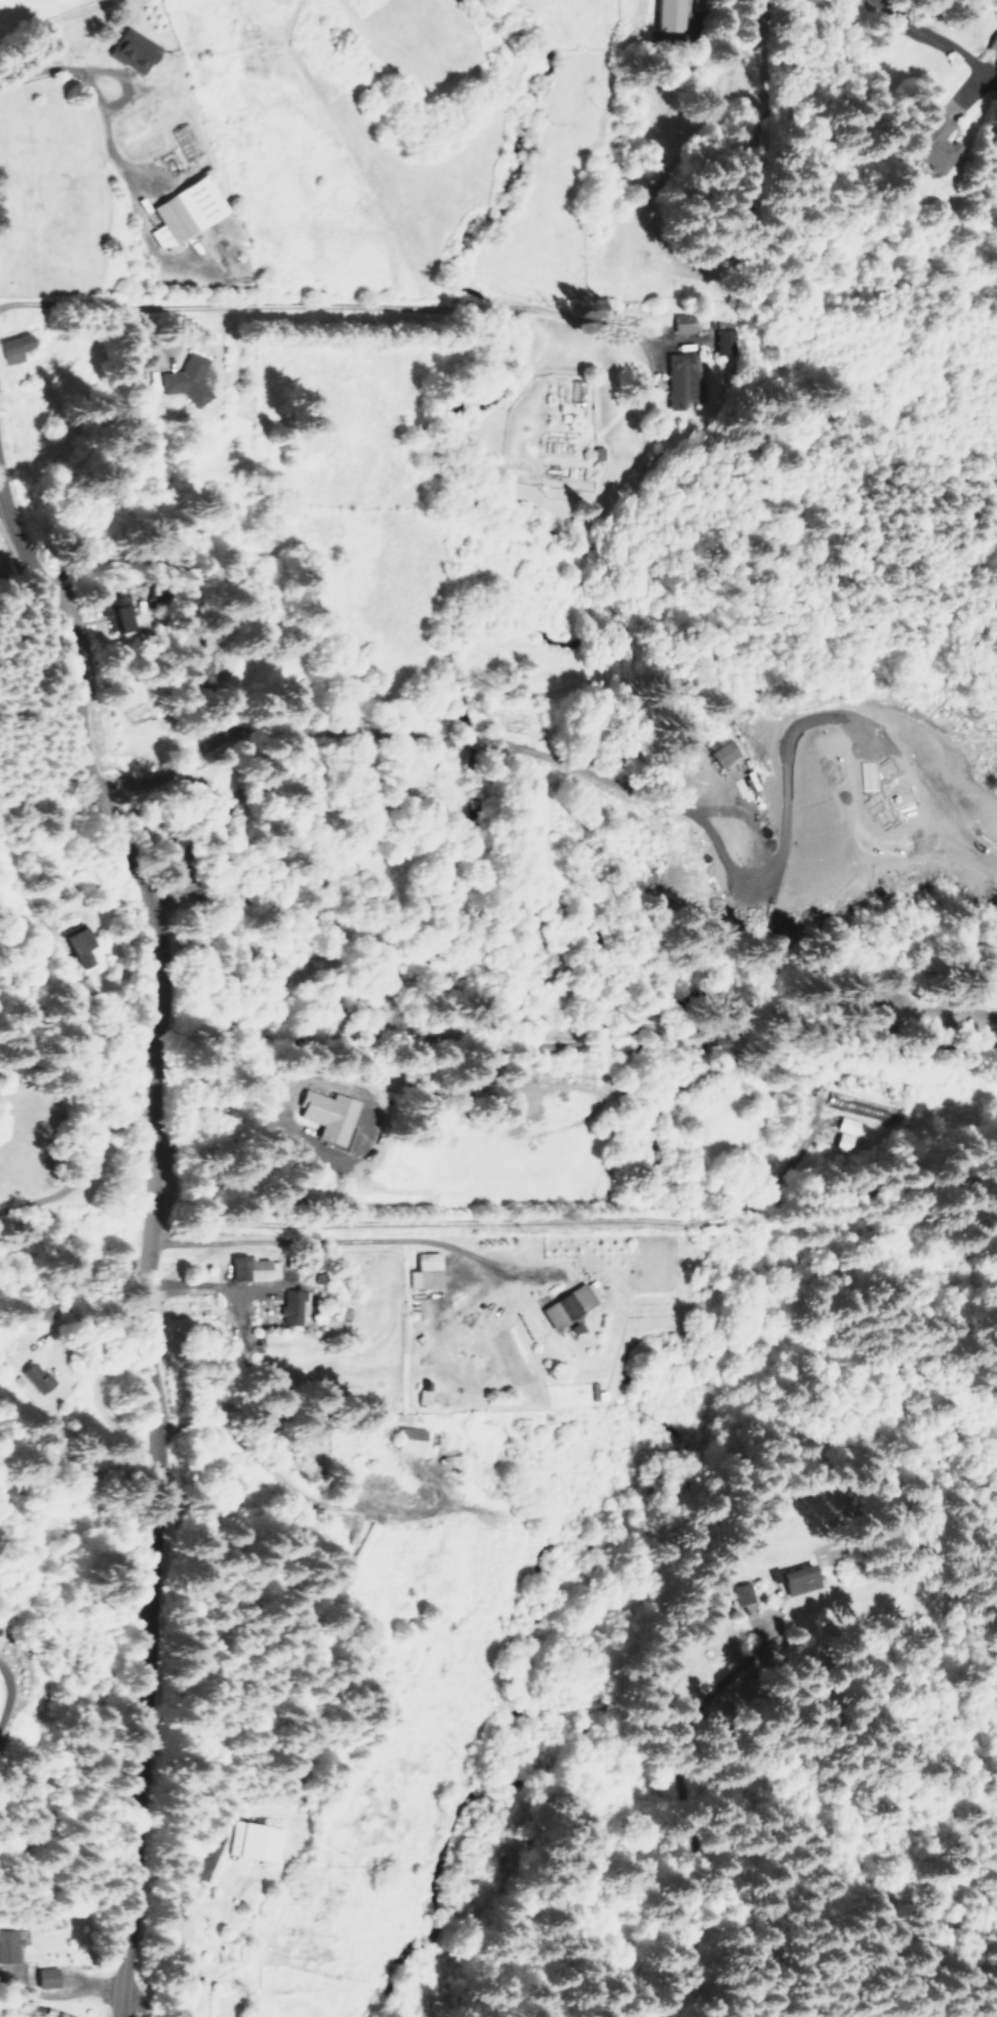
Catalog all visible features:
building: (666, 13)
building: (128, 49)
building: (183, 210)
road: (327, 317)
building: (680, 322)
building: (725, 340)
building: (11, 347)
building: (680, 361)
building: (185, 379)
building: (576, 391)
building: (115, 613)
building: (194, 670)
building: (723, 748)
building: (732, 843)
road: (532, 857)
building: (76, 944)
building: (857, 1105)
building: (325, 1115)
road: (575, 1215)
road: (156, 1249)
building: (249, 1268)
building: (423, 1271)
building: (566, 1304)
building: (288, 1306)
building: (34, 1376)
building: (310, 1432)
building: (407, 1438)
building: (793, 1579)
building: (738, 1592)
building: (252, 1841)
building: (7, 1945)
building: (43, 1976)
building: (183, 1978)
road: (739, 2003)

